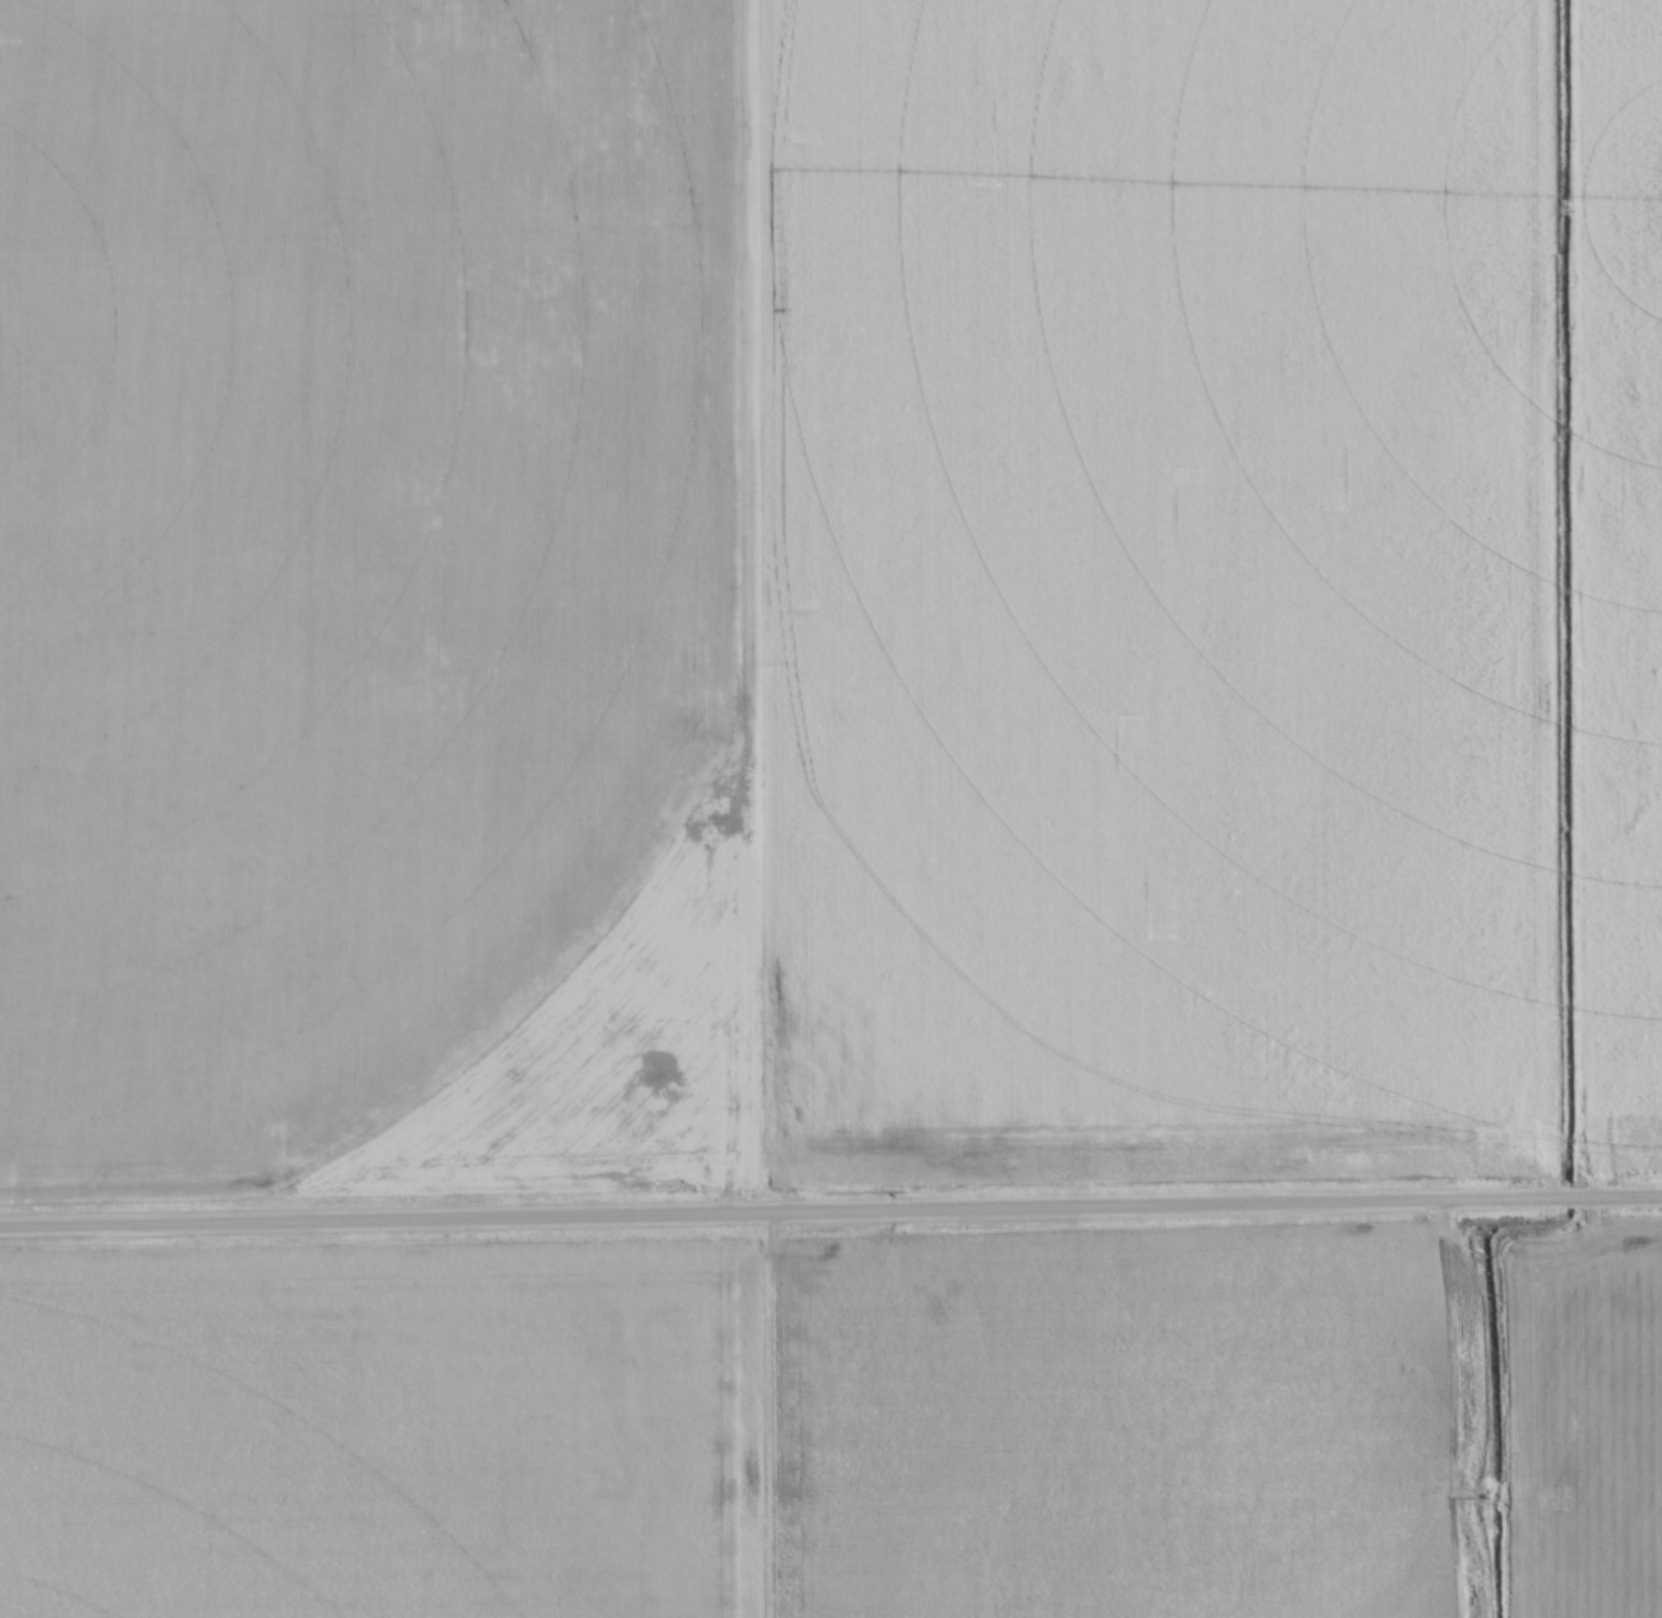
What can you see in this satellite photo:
crop: (826, 592)
road: (830, 1213)
crop: (1229, 1429)
crop: (377, 1434)

